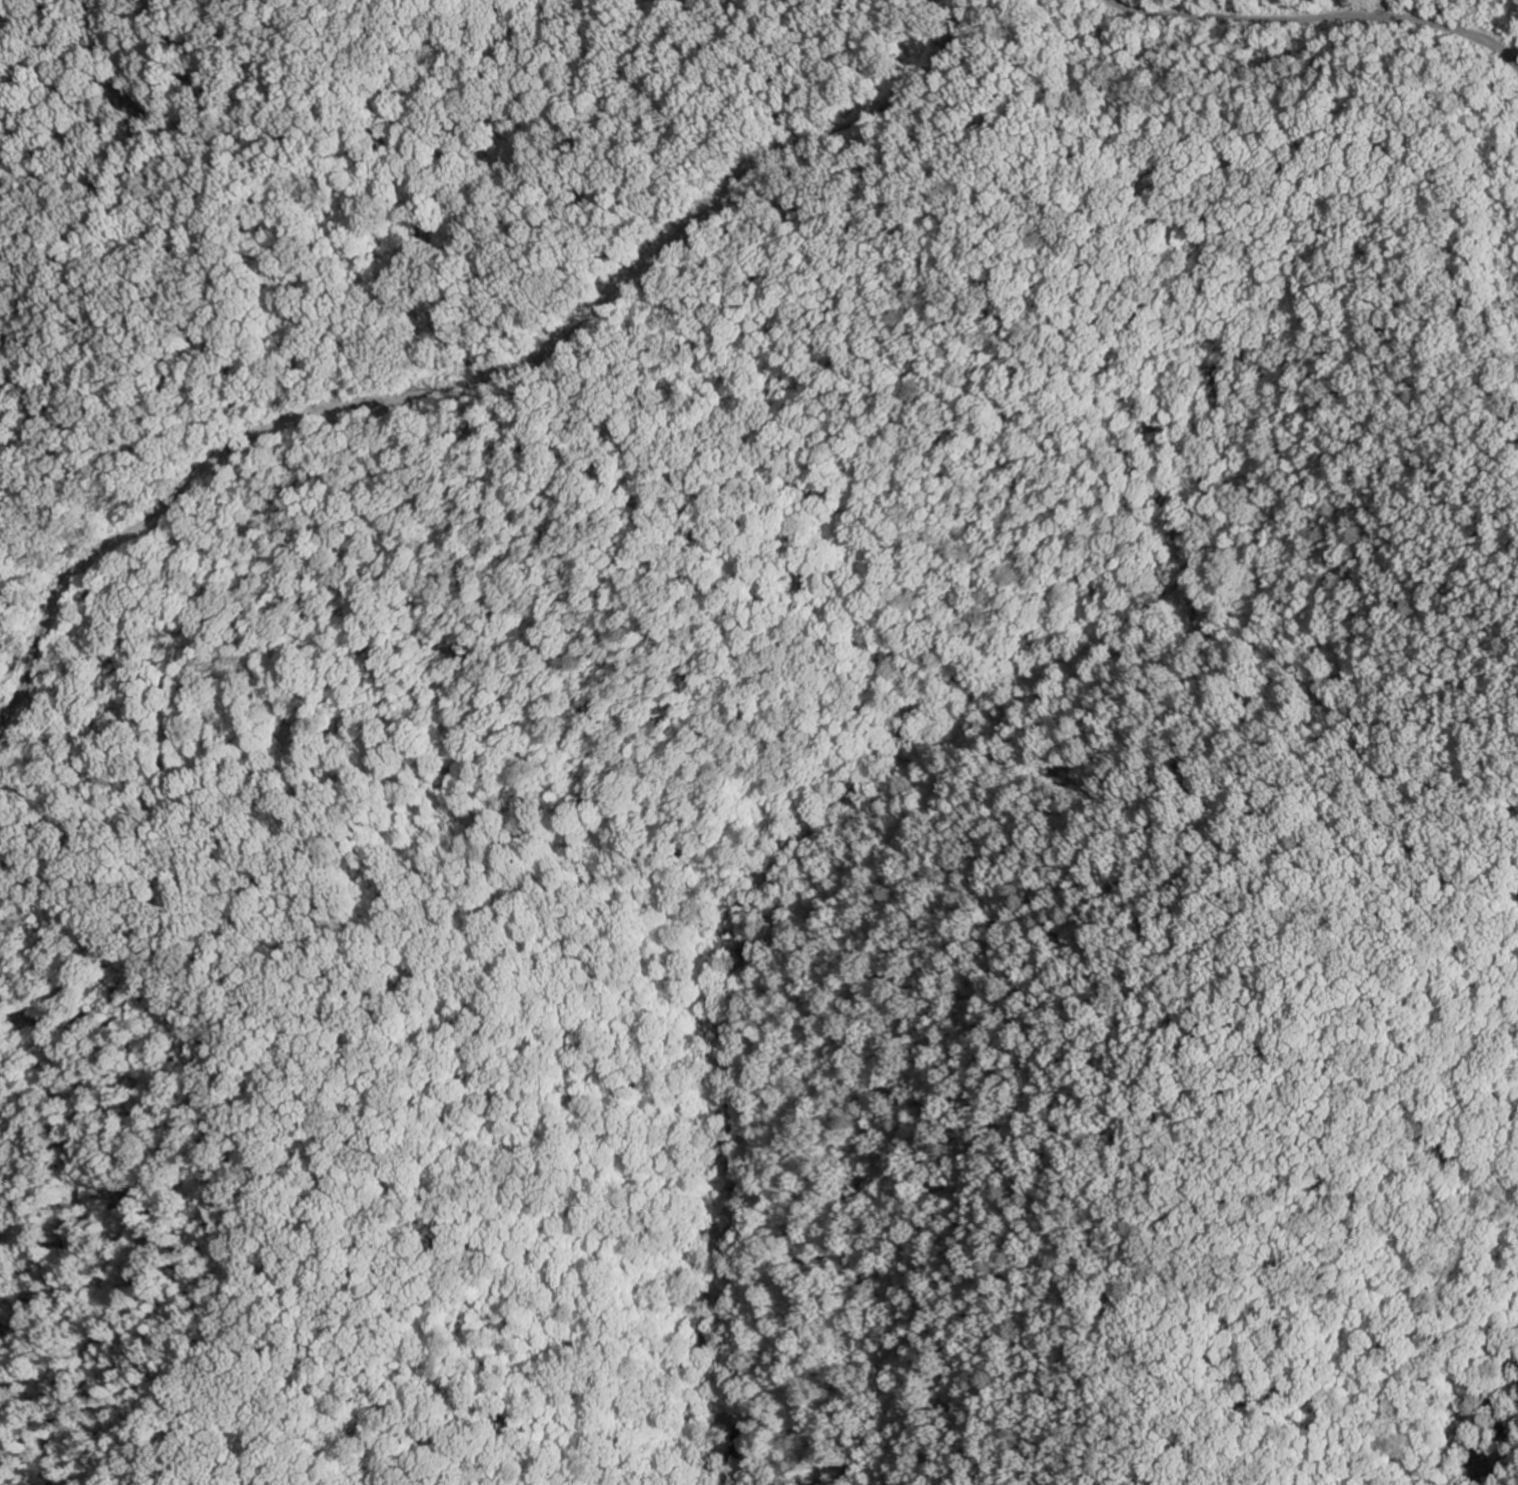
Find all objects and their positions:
road: (1302, 18)

